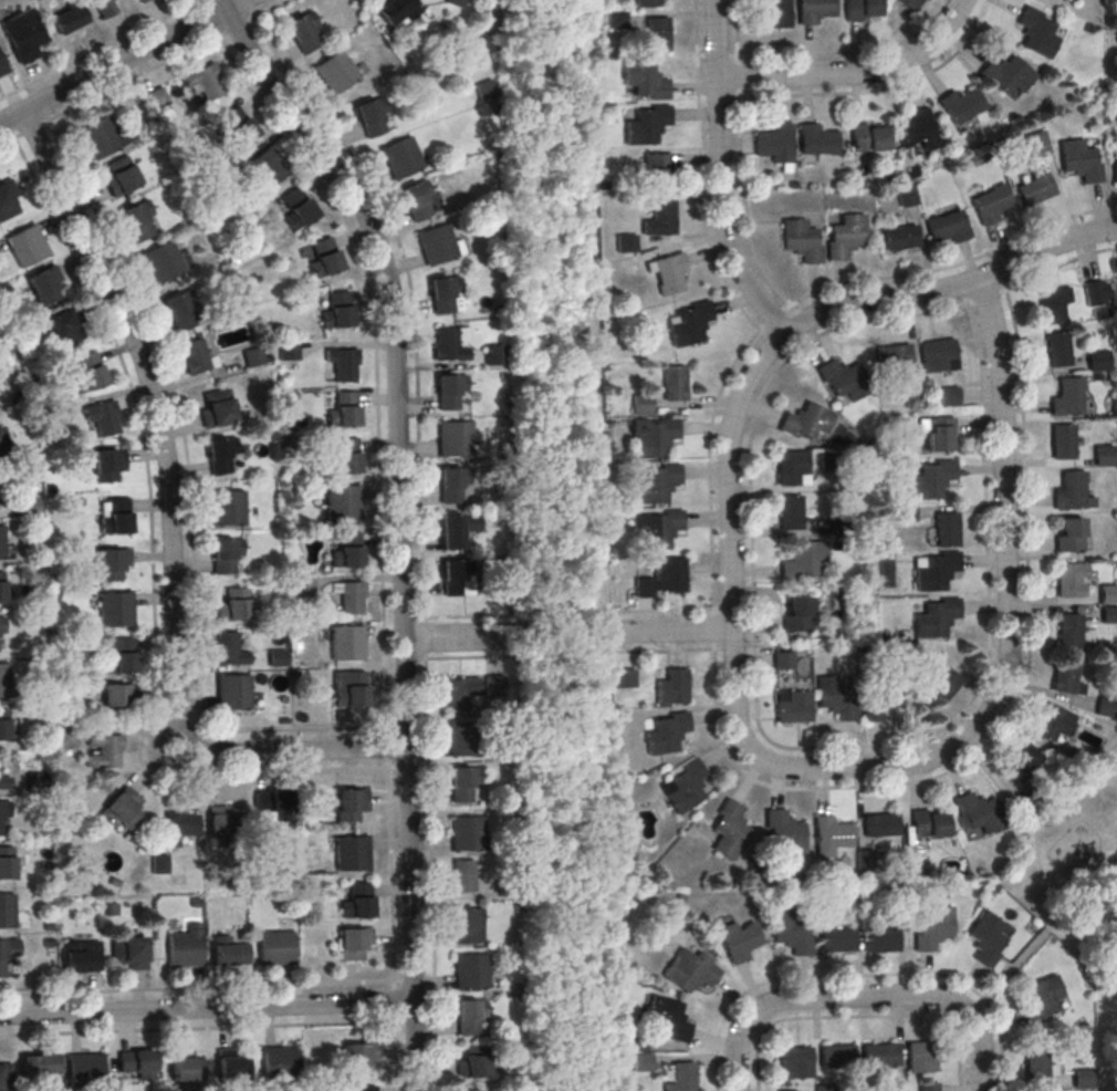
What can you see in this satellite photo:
building: (1043, 0)
building: (1059, 0)
building: (145, 2)
building: (455, 2)
road: (202, 4)
road: (240, 4)
building: (648, 4)
road: (248, 6)
building: (106, 7)
building: (860, 9)
road: (270, 11)
building: (395, 11)
building: (814, 12)
building: (773, 17)
building: (70, 20)
road: (209, 20)
building: (616, 22)
road: (237, 30)
building: (303, 31)
building: (22, 34)
building: (1036, 35)
building: (657, 37)
road: (101, 50)
road: (850, 53)
building: (2, 66)
road: (115, 66)
building: (335, 71)
road: (855, 73)
building: (1005, 77)
road: (134, 81)
building: (199, 82)
building: (645, 82)
road: (885, 90)
building: (158, 96)
road: (42, 108)
building: (960, 108)
building: (372, 117)
road: (7, 127)
building: (647, 127)
building: (243, 129)
road: (30, 131)
building: (917, 133)
building: (102, 136)
road: (10, 142)
building: (815, 143)
building: (1035, 143)
building: (866, 144)
building: (774, 147)
building: (400, 157)
building: (1079, 160)
building: (270, 165)
building: (1115, 170)
building: (657, 173)
road: (700, 173)
building: (121, 176)
road: (717, 176)
building: (1034, 186)
building: (907, 197)
building: (416, 199)
building: (7, 201)
building: (990, 202)
building: (296, 206)
building: (136, 221)
building: (660, 221)
building: (947, 225)
building: (844, 236)
building: (899, 236)
building: (798, 239)
building: (438, 243)
building: (25, 245)
building: (627, 246)
building: (323, 256)
building: (160, 261)
building: (670, 277)
building: (44, 284)
road: (951, 287)
building: (1095, 291)
building: (445, 293)
road: (801, 299)
building: (1054, 303)
building: (337, 310)
building: (178, 312)
road: (773, 316)
building: (688, 322)
building: (61, 325)
building: (450, 343)
building: (1057, 349)
building: (494, 354)
building: (938, 354)
building: (289, 355)
building: (196, 356)
building: (892, 356)
building: (1096, 361)
building: (344, 364)
building: (843, 378)
building: (674, 382)
building: (449, 394)
building: (948, 395)
building: (911, 397)
building: (1065, 397)
building: (640, 404)
building: (216, 407)
building: (342, 409)
building: (102, 417)
building: (805, 420)
building: (53, 422)
building: (937, 433)
building: (654, 436)
building: (452, 437)
building: (2, 439)
building: (1063, 440)
building: (219, 455)
building: (1102, 455)
building: (344, 456)
building: (106, 464)
building: (790, 467)
building: (931, 479)
building: (450, 482)
building: (656, 482)
road: (707, 482)
road: (748, 490)
building: (1071, 491)
building: (342, 501)
building: (30, 505)
building: (227, 508)
road: (191, 509)
building: (789, 511)
building: (115, 515)
road: (397, 522)
road: (169, 524)
road: (420, 528)
building: (455, 528)
building: (947, 528)
building: (657, 529)
building: (1068, 534)
road: (382, 538)
building: (1, 542)
building: (347, 551)
building: (226, 554)
building: (803, 559)
building: (111, 562)
road: (1003, 567)
building: (935, 572)
building: (453, 576)
building: (661, 578)
building: (1071, 579)
road: (153, 580)
building: (2, 586)
building: (303, 586)
building: (1106, 593)
road: (730, 595)
building: (351, 598)
building: (232, 604)
building: (114, 610)
road: (670, 610)
building: (796, 614)
building: (1107, 614)
building: (935, 617)
road: (460, 620)
building: (1, 623)
building: (1068, 630)
road: (670, 632)
road: (539, 634)
road: (461, 638)
building: (346, 643)
building: (227, 650)
road: (671, 651)
building: (119, 654)
building: (928, 657)
road: (1026, 657)
road: (459, 659)
building: (783, 659)
building: (1065, 676)
building: (624, 677)
building: (3, 680)
building: (941, 685)
building: (671, 687)
building: (351, 690)
building: (232, 692)
building: (458, 693)
building: (114, 698)
building: (835, 698)
building: (879, 698)
building: (792, 706)
building: (1106, 706)
building: (1052, 721)
building: (2, 726)
building: (666, 734)
building: (65, 737)
building: (462, 738)
building: (103, 748)
building: (1022, 761)
building: (3, 782)
building: (460, 783)
building: (685, 786)
building: (346, 802)
building: (271, 804)
building: (122, 809)
building: (4, 810)
building: (977, 812)
road: (1023, 821)
building: (223, 823)
building: (928, 823)
building: (177, 825)
building: (880, 825)
building: (729, 830)
building: (466, 833)
building: (783, 833)
building: (829, 835)
building: (351, 853)
road: (593, 855)
building: (864, 859)
building: (6, 863)
building: (158, 863)
building: (462, 876)
park: (1072, 890)
building: (357, 902)
building: (849, 902)
building: (6, 911)
building: (467, 924)
building: (932, 928)
building: (790, 932)
road: (1038, 936)
building: (738, 939)
building: (836, 939)
building: (984, 939)
building: (880, 941)
building: (353, 942)
building: (275, 948)
building: (184, 949)
building: (7, 952)
building: (127, 952)
building: (228, 952)
building: (80, 957)
building: (689, 970)
building: (470, 971)
road: (858, 977)
road: (196, 988)
building: (1038, 999)
road: (951, 1002)
road: (761, 1007)
road: (206, 1008)
building: (468, 1016)
road: (859, 1017)
building: (667, 1019)
road: (197, 1029)
building: (635, 1043)
building: (878, 1054)
building: (835, 1056)
building: (921, 1056)
building: (357, 1057)
building: (135, 1060)
building: (1033, 1060)
building: (793, 1062)
building: (38, 1063)
building: (640, 1063)
building: (84, 1064)
building: (231, 1064)
building: (279, 1064)
building: (472, 1064)
building: (185, 1066)
building: (6, 1072)
building: (682, 1077)
building: (1079, 1079)
building: (366, 1088)
building: (927, 1088)
building: (823, 1089)
building: (895, 1089)
building: (468, 1090)
building: (786, 1090)

